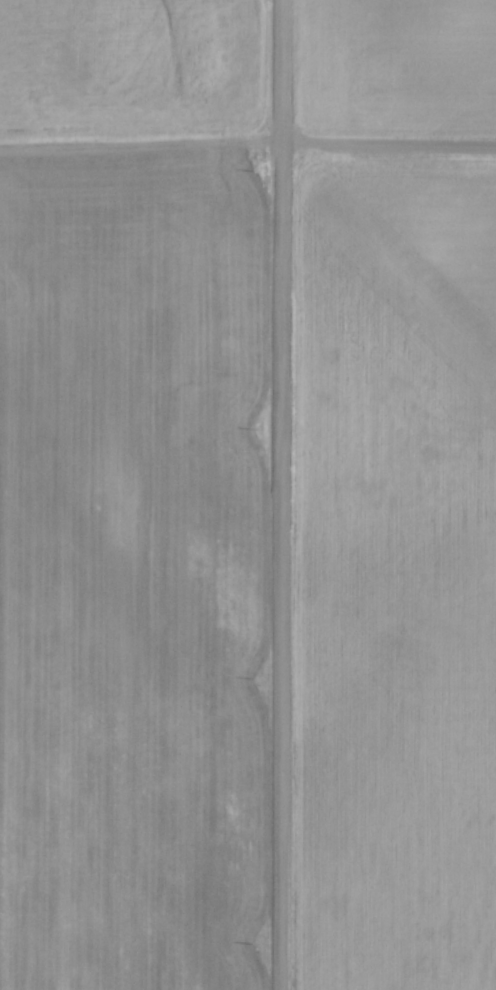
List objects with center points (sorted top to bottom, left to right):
road: (247, 134)
crop: (132, 495)
road: (282, 495)
crop: (394, 497)

